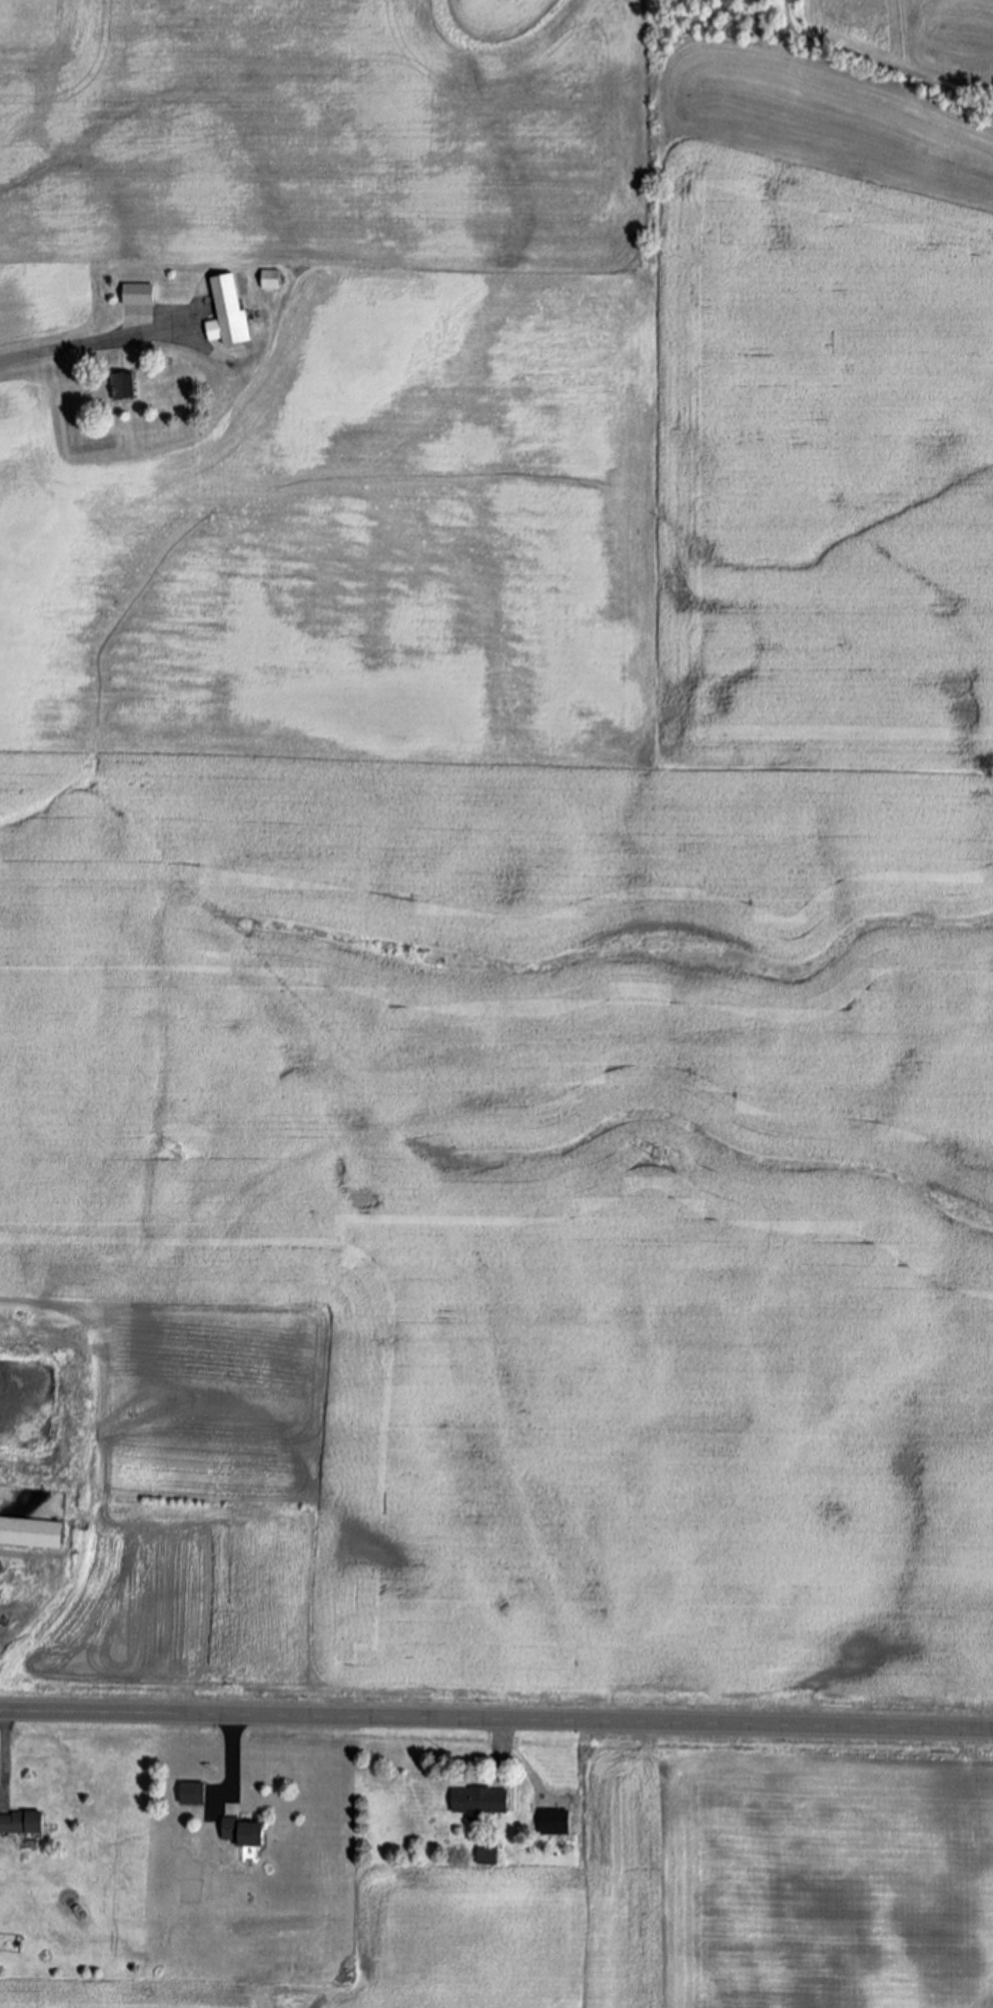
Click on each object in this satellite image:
building: (269, 280)
building: (138, 294)
building: (227, 312)
road: (88, 344)
building: (124, 387)
power tower: (182, 1155)
power tower: (658, 1155)
building: (30, 1534)
road: (496, 1721)
road: (501, 1747)
road: (5, 1756)
road: (230, 1758)
building: (193, 1795)
building: (480, 1802)
building: (557, 1822)
building: (22, 1824)
building: (246, 1836)
building: (488, 1856)

